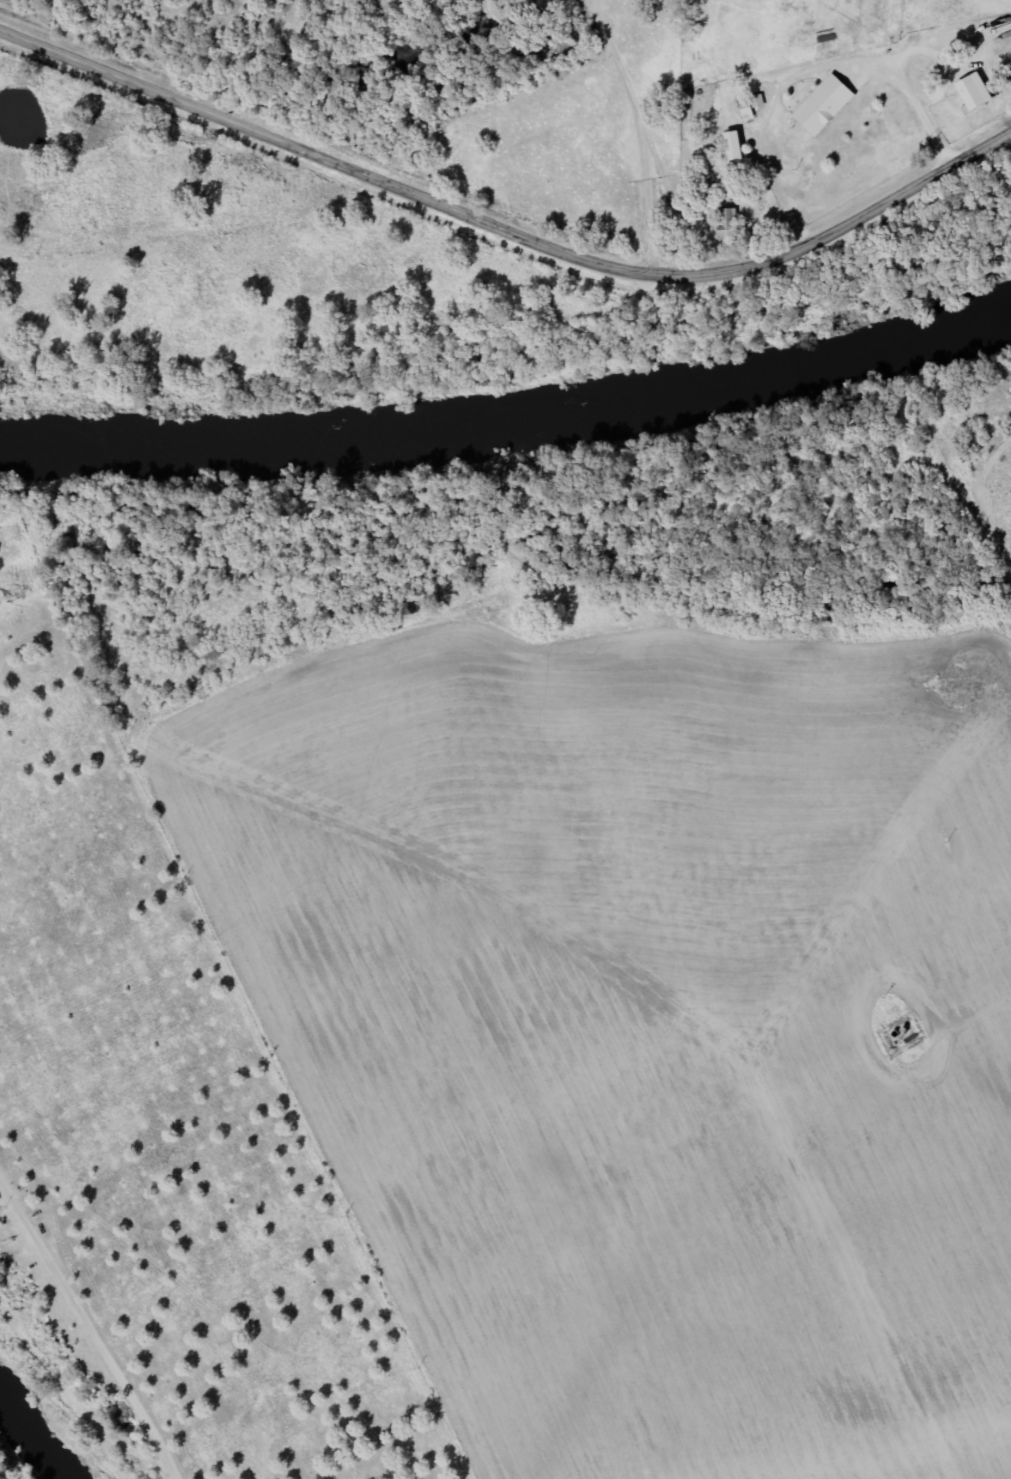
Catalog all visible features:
building: (749, 108)
building: (820, 114)
building: (727, 225)
road: (506, 229)
river: (510, 425)
river: (20, 1453)

